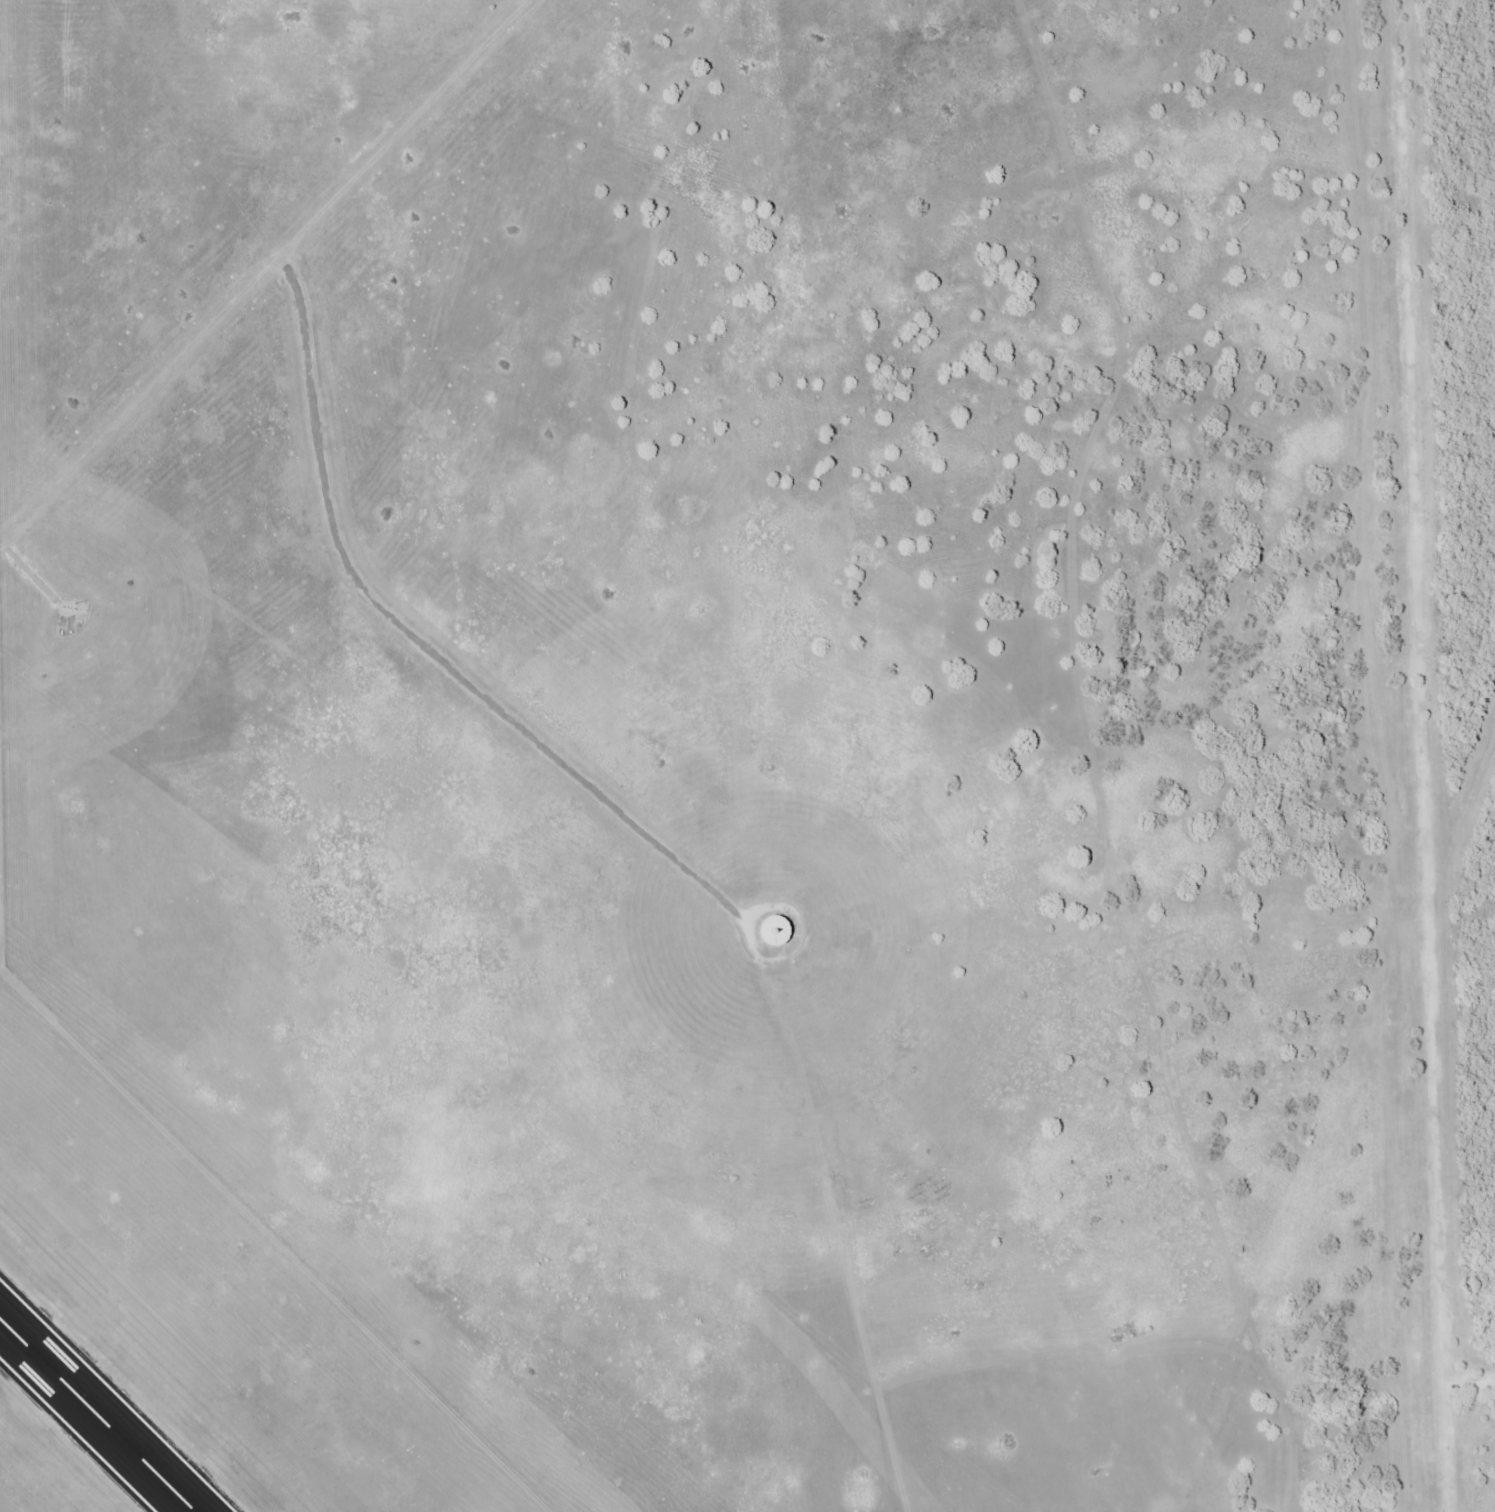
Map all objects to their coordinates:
airport: (747, 756)
airport runway: (96, 1416)

